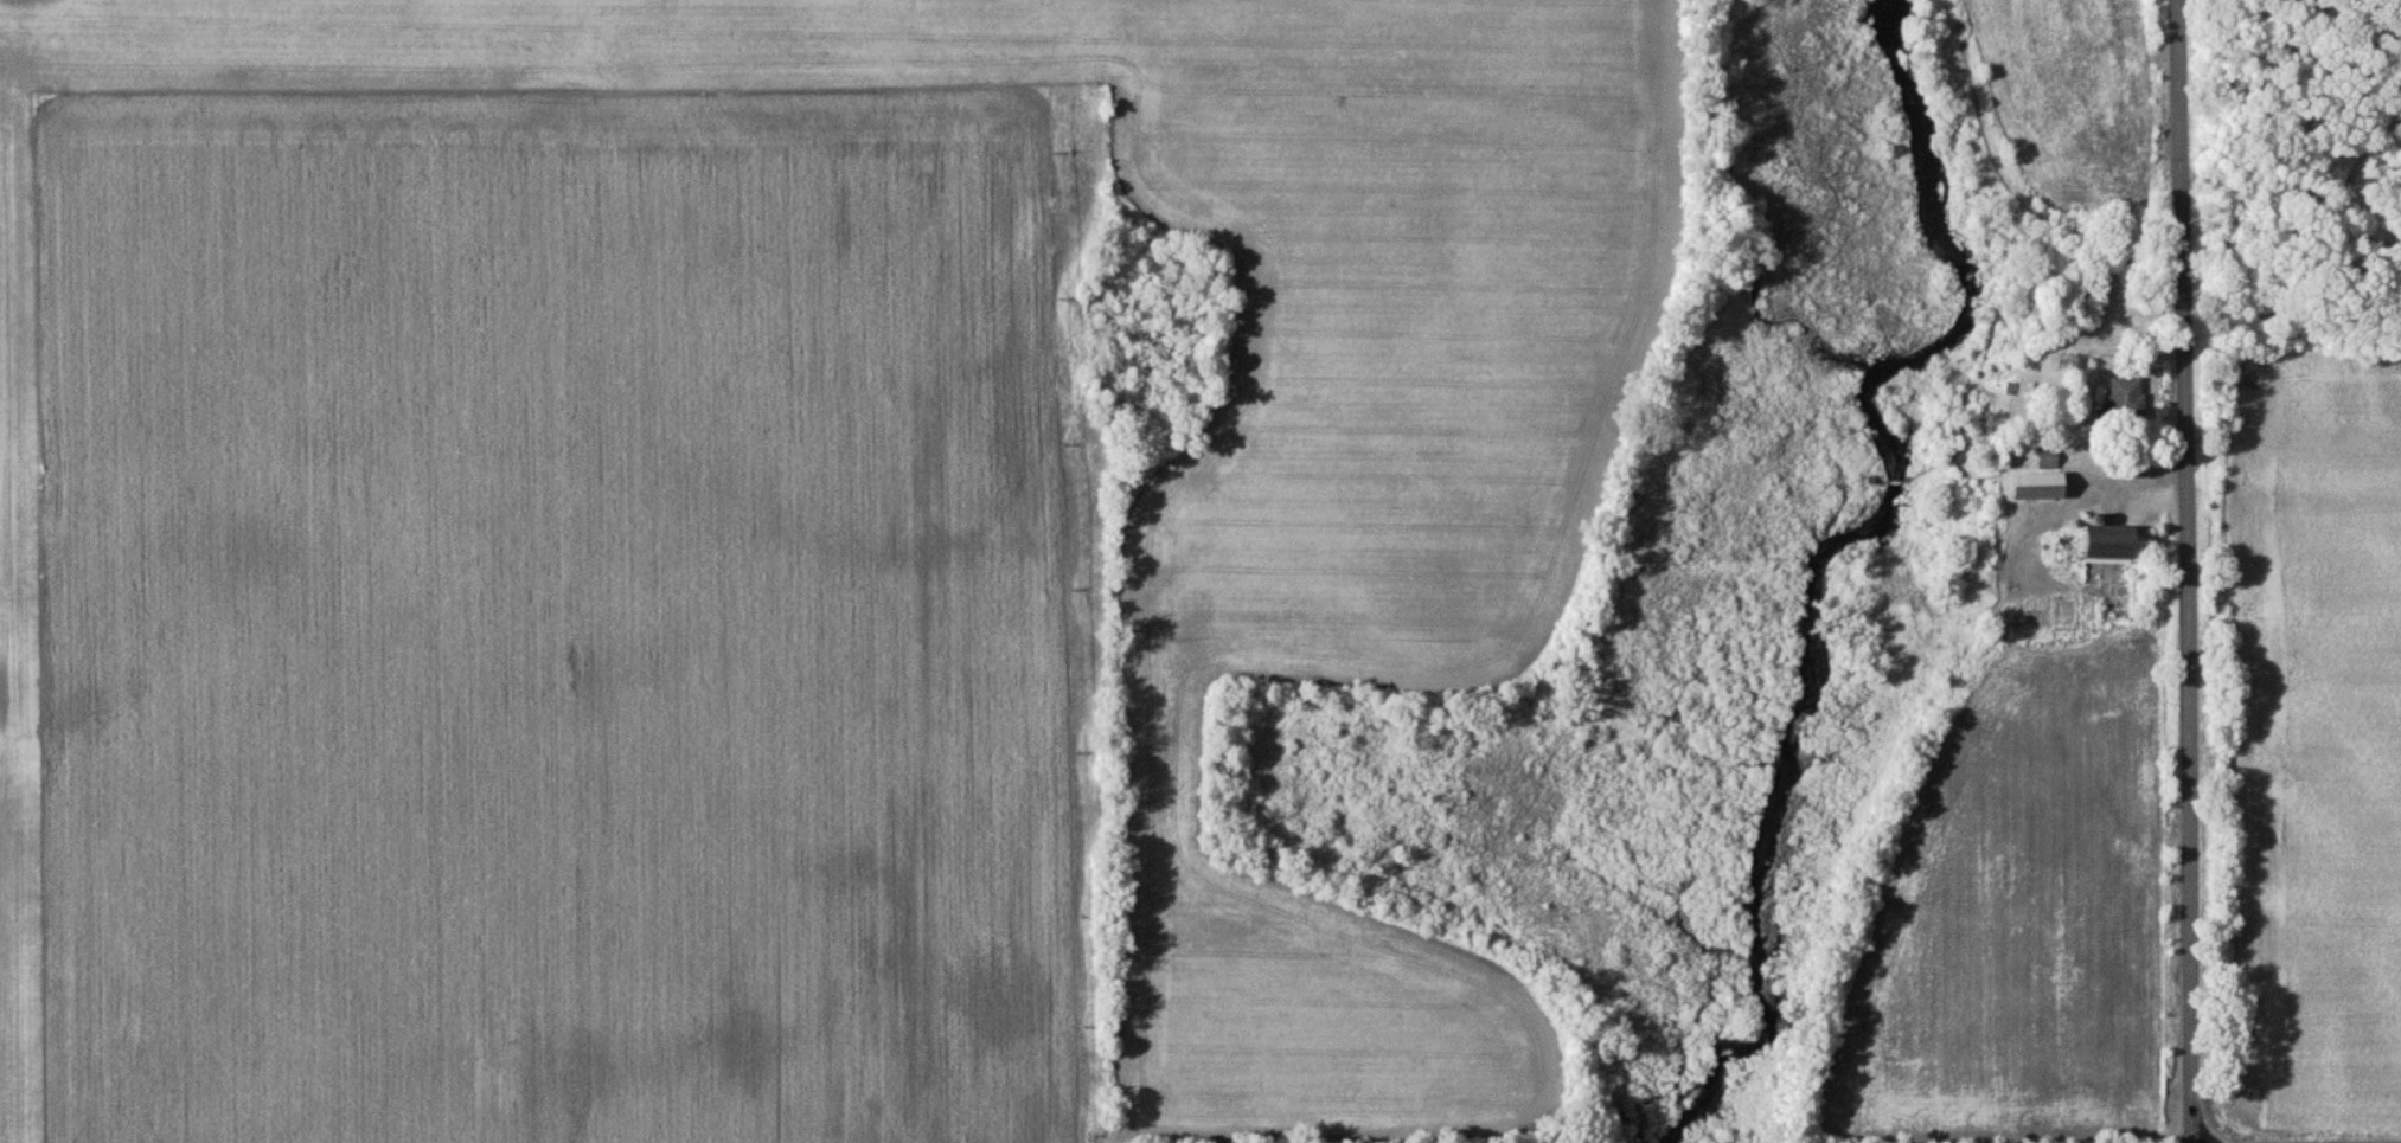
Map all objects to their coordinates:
building: (2126, 399)
building: (2049, 460)
building: (2042, 486)
building: (2114, 545)
road: (2188, 571)

